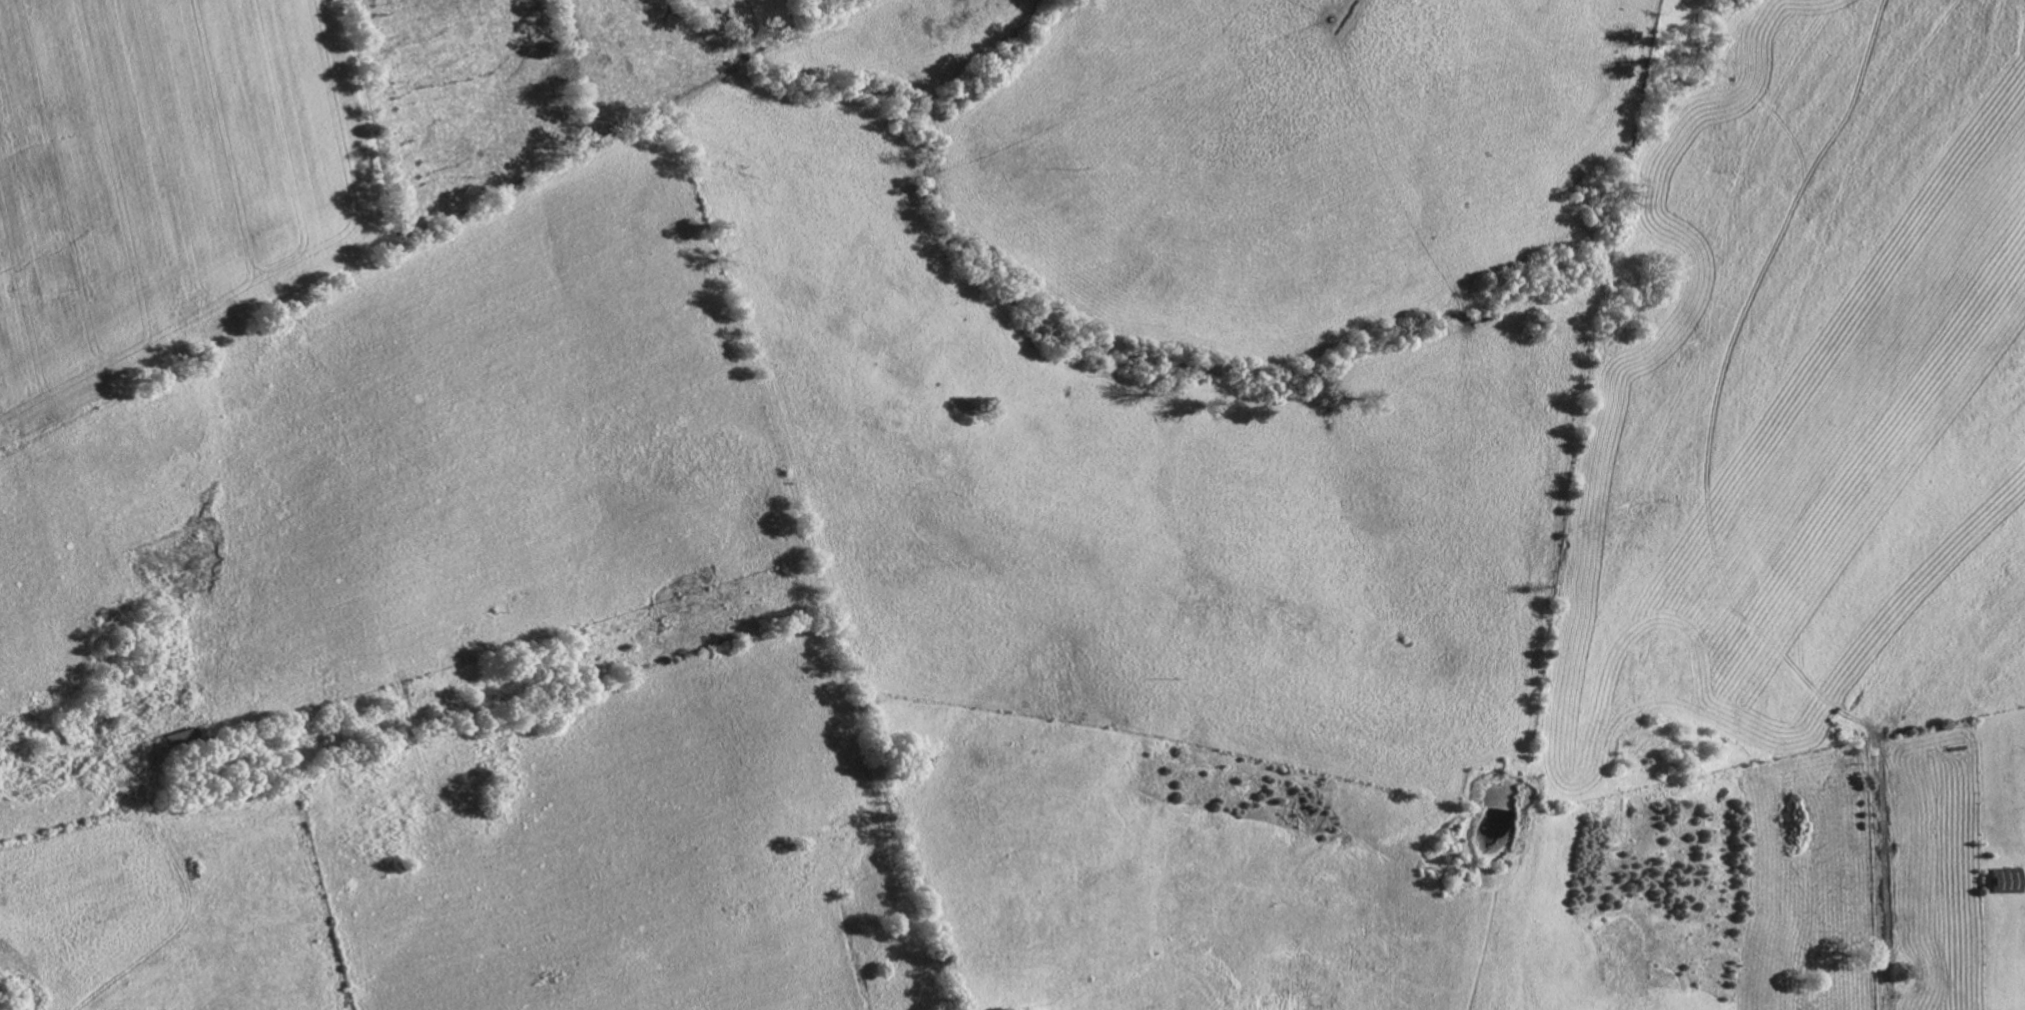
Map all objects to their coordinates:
building: (183, 737)
building: (2010, 882)

